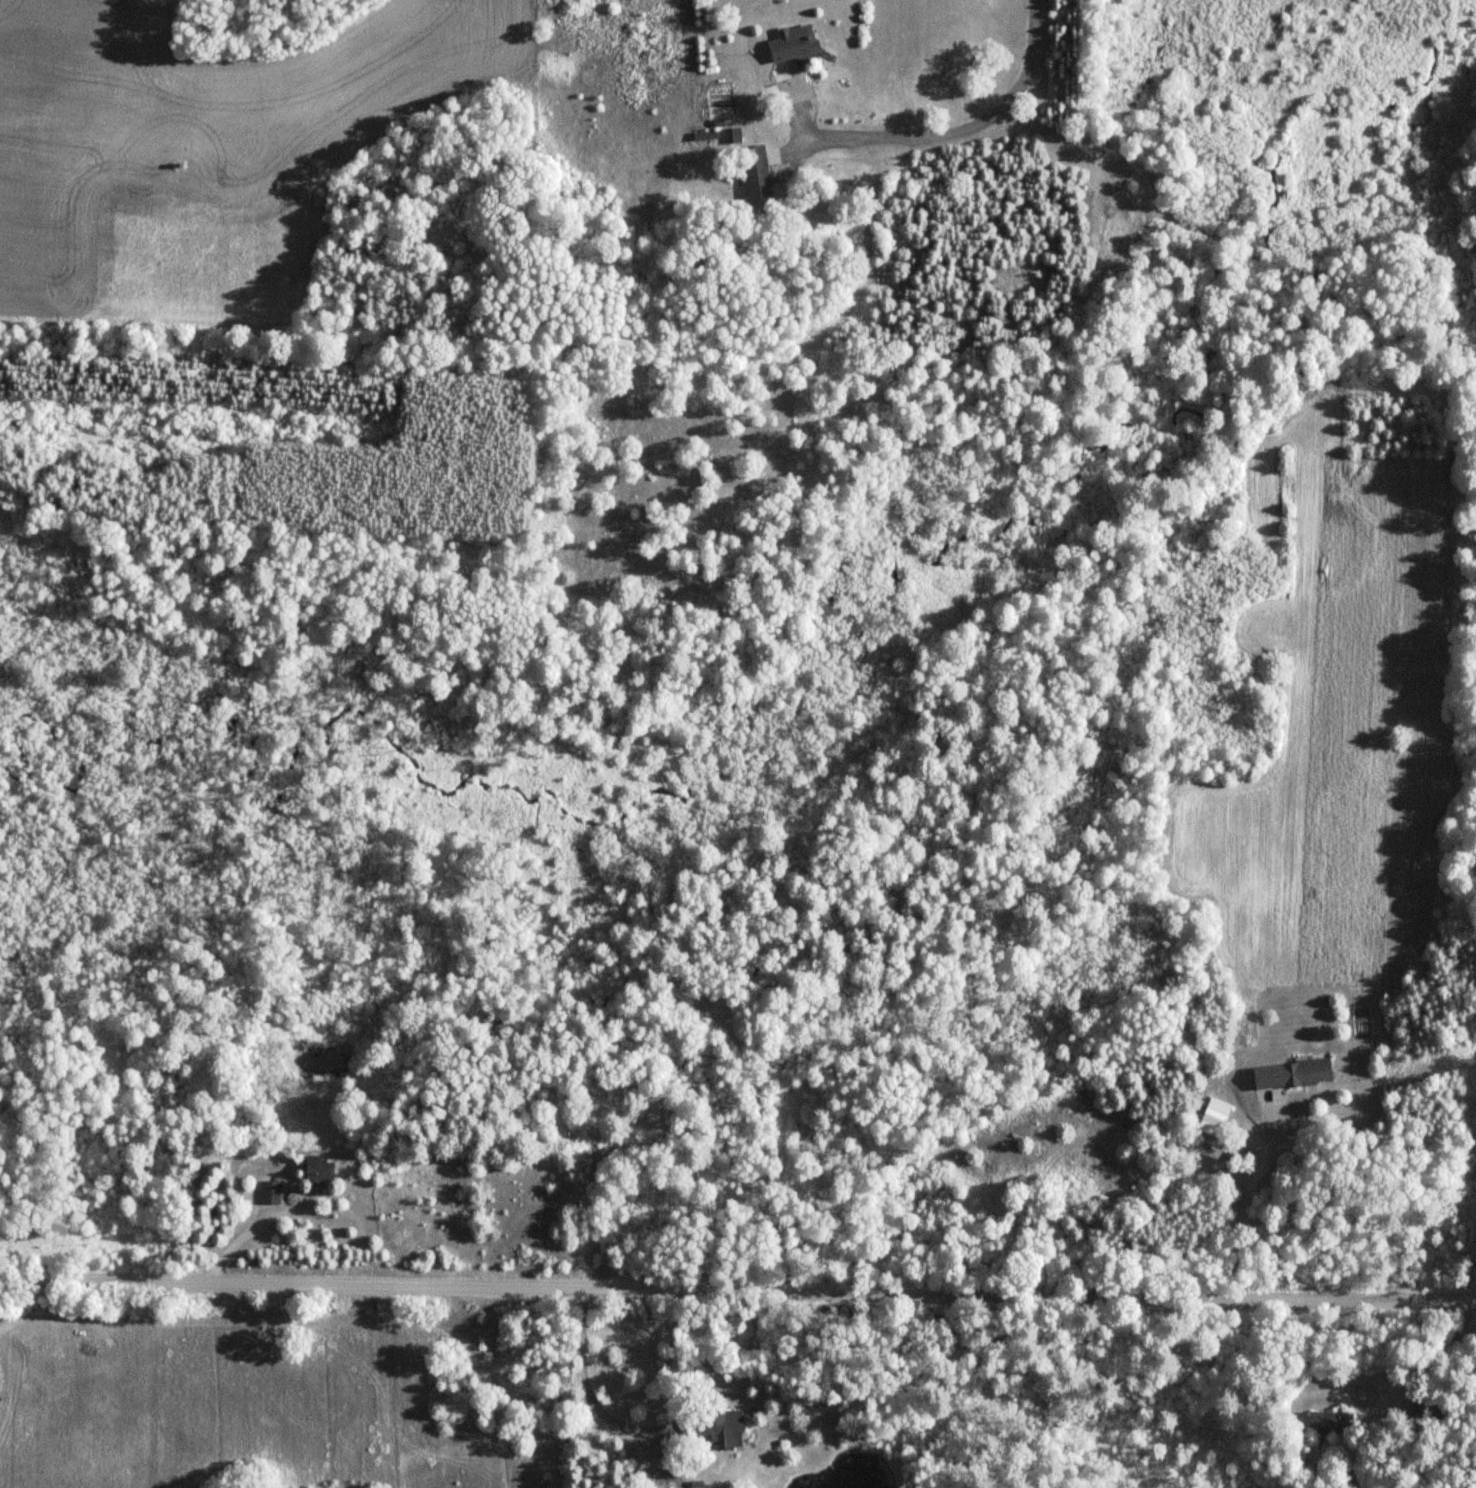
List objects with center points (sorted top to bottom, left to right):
building: (792, 43)
road: (959, 123)
building: (705, 135)
building: (754, 171)
building: (1305, 1071)
building: (1213, 1116)
building: (318, 1169)
building: (270, 1191)
road: (1245, 1209)
road: (249, 1231)
road: (737, 1287)
road: (594, 1405)
building: (1329, 1421)
building: (720, 1423)

